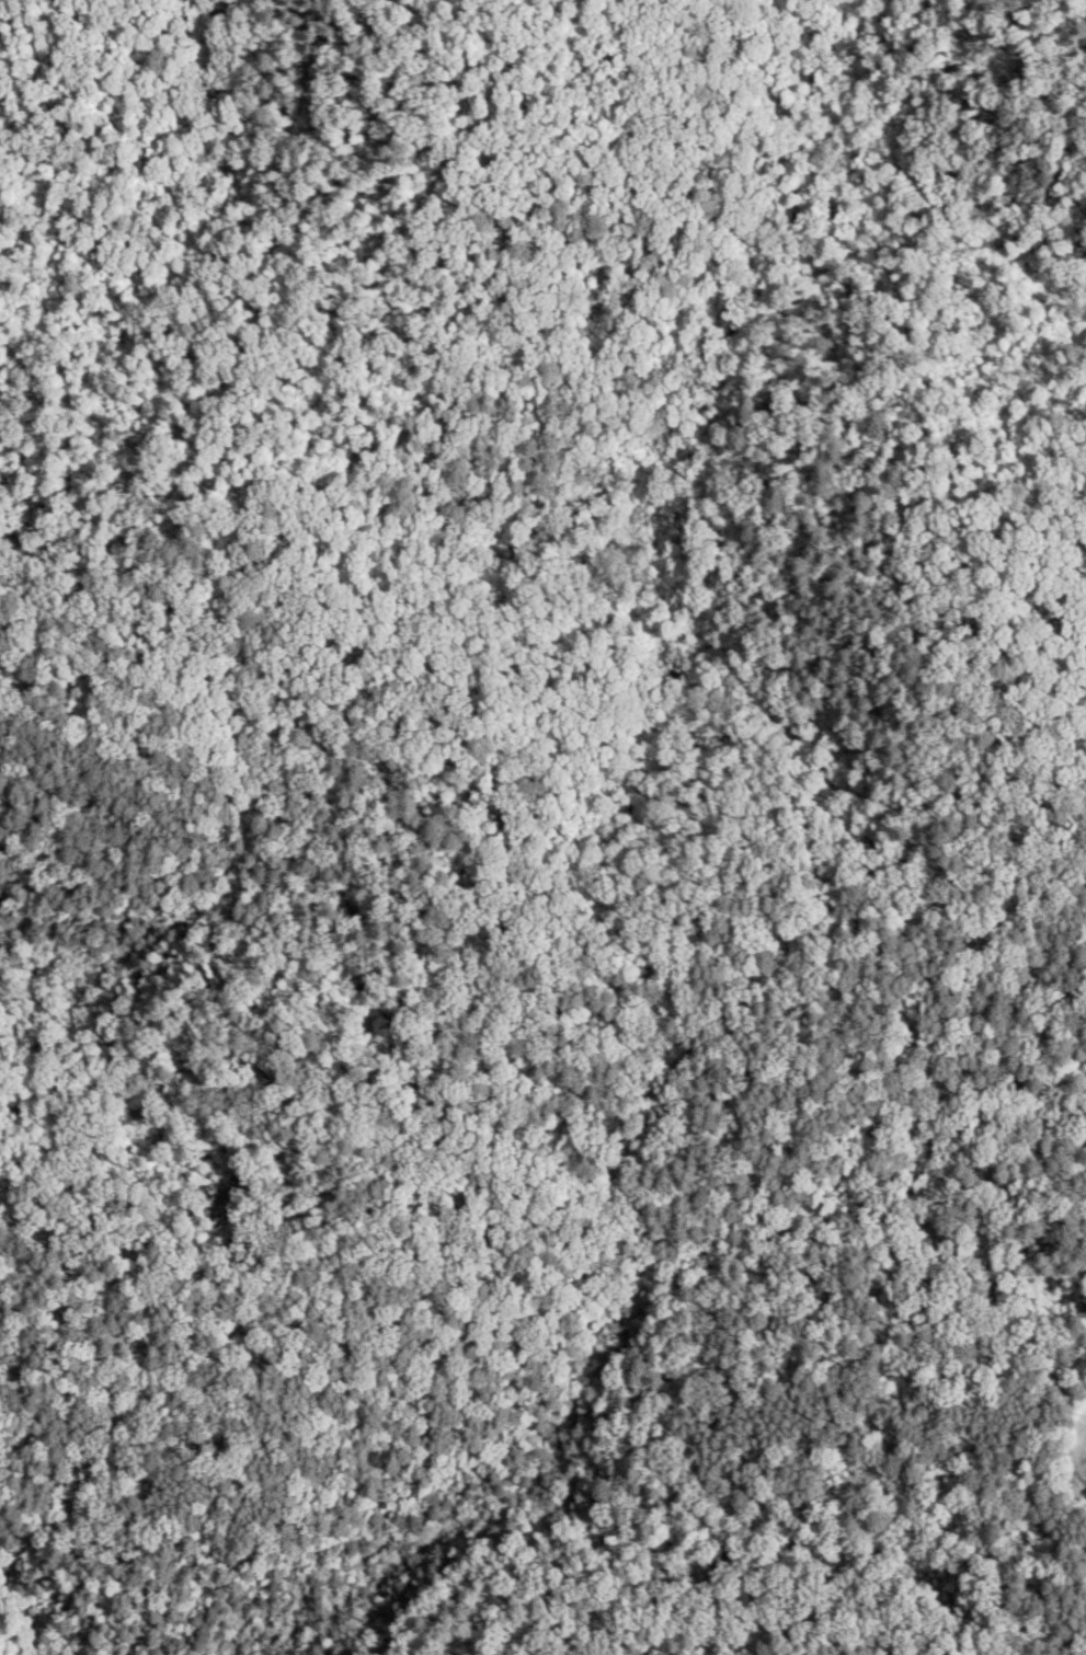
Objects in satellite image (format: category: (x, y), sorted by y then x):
road: (801, 453)

